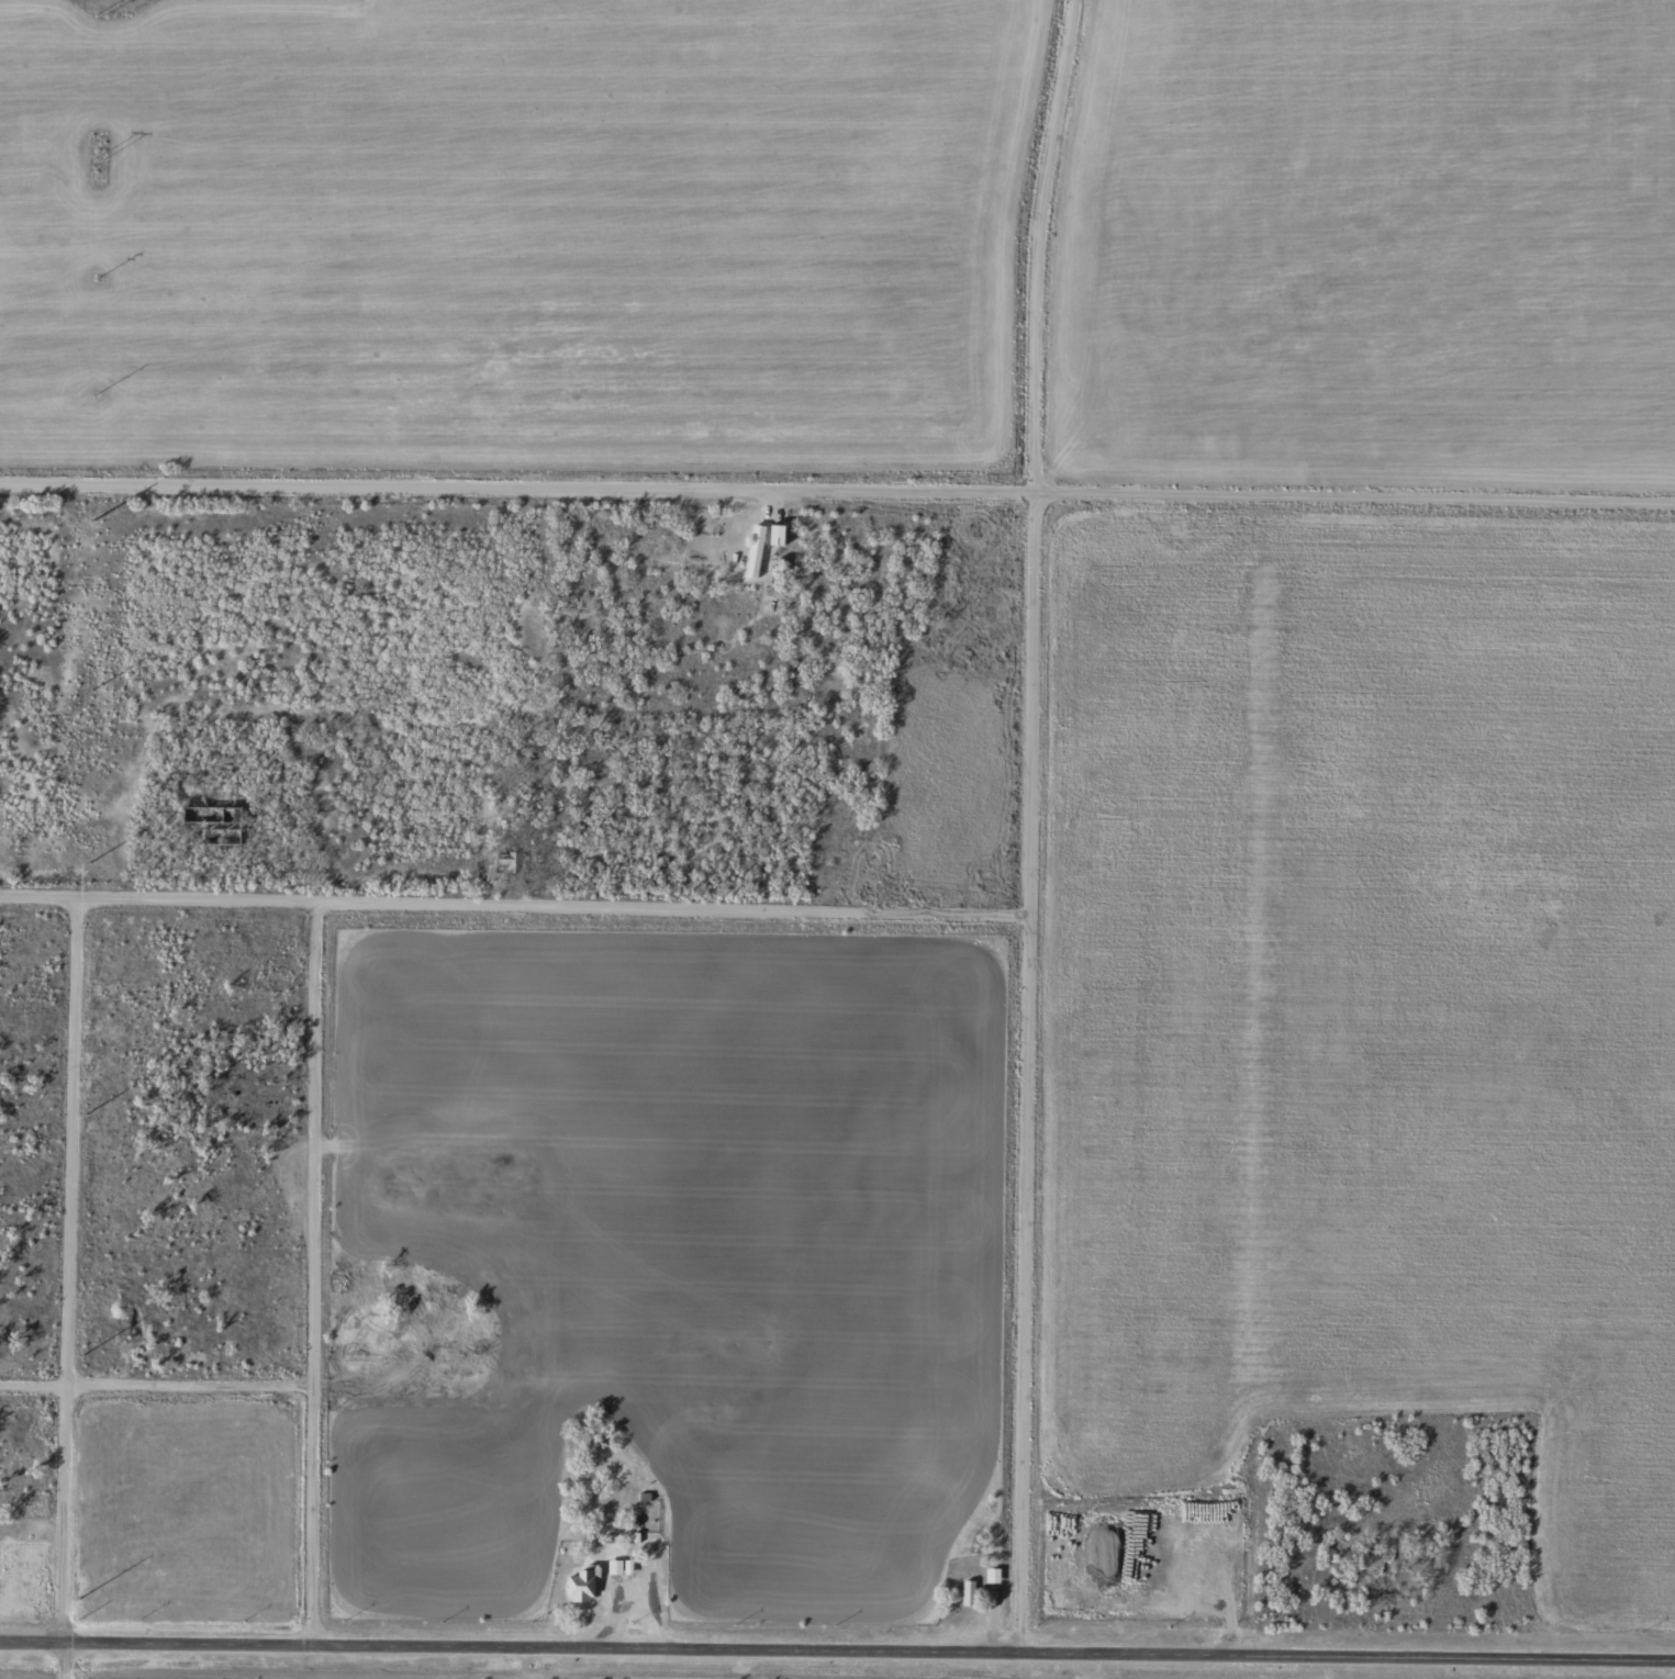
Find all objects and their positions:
power tower: (100, 15)
power tower: (99, 158)
road: (837, 494)
building: (758, 546)
road: (1027, 825)
building: (831, 865)
road: (512, 913)
road: (60, 1273)
road: (313, 1278)
building: (255, 1341)
road: (155, 1389)
building: (989, 1576)
building: (578, 1583)
building: (964, 1593)
road: (837, 1648)
road: (60, 1664)

